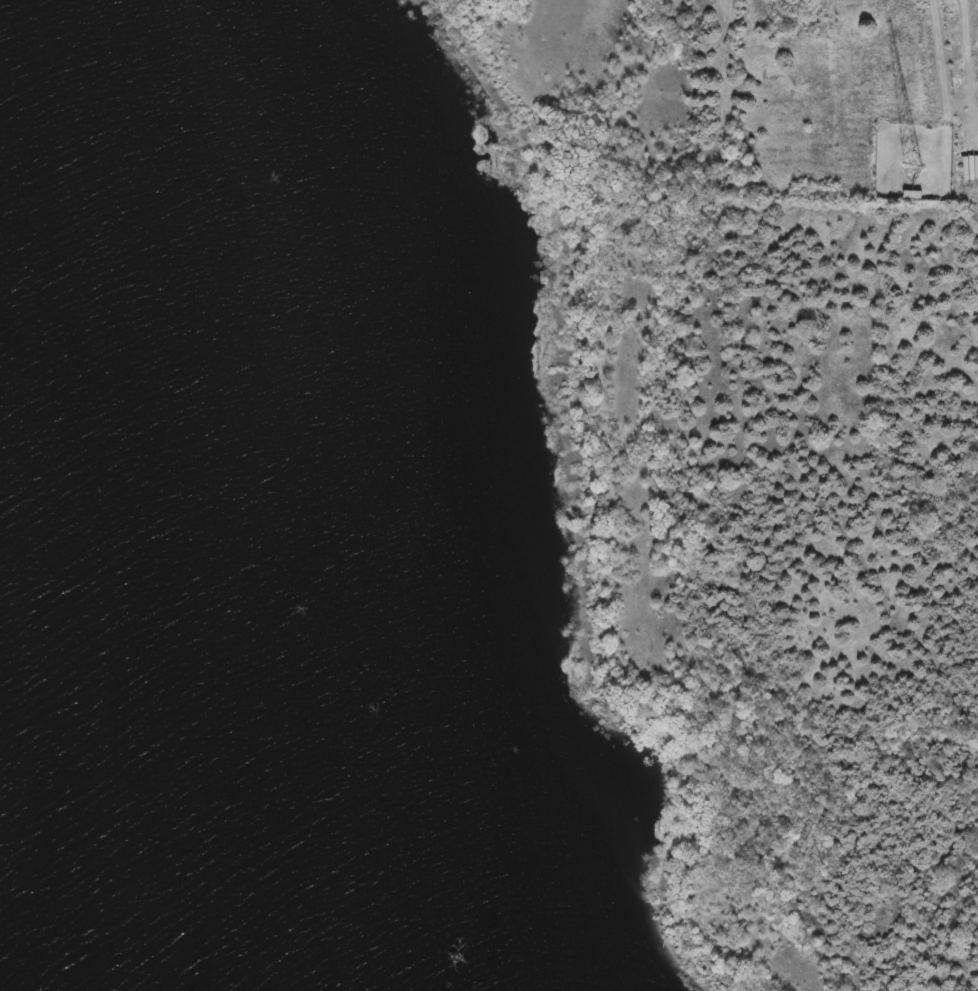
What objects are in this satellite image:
building: (912, 195)

